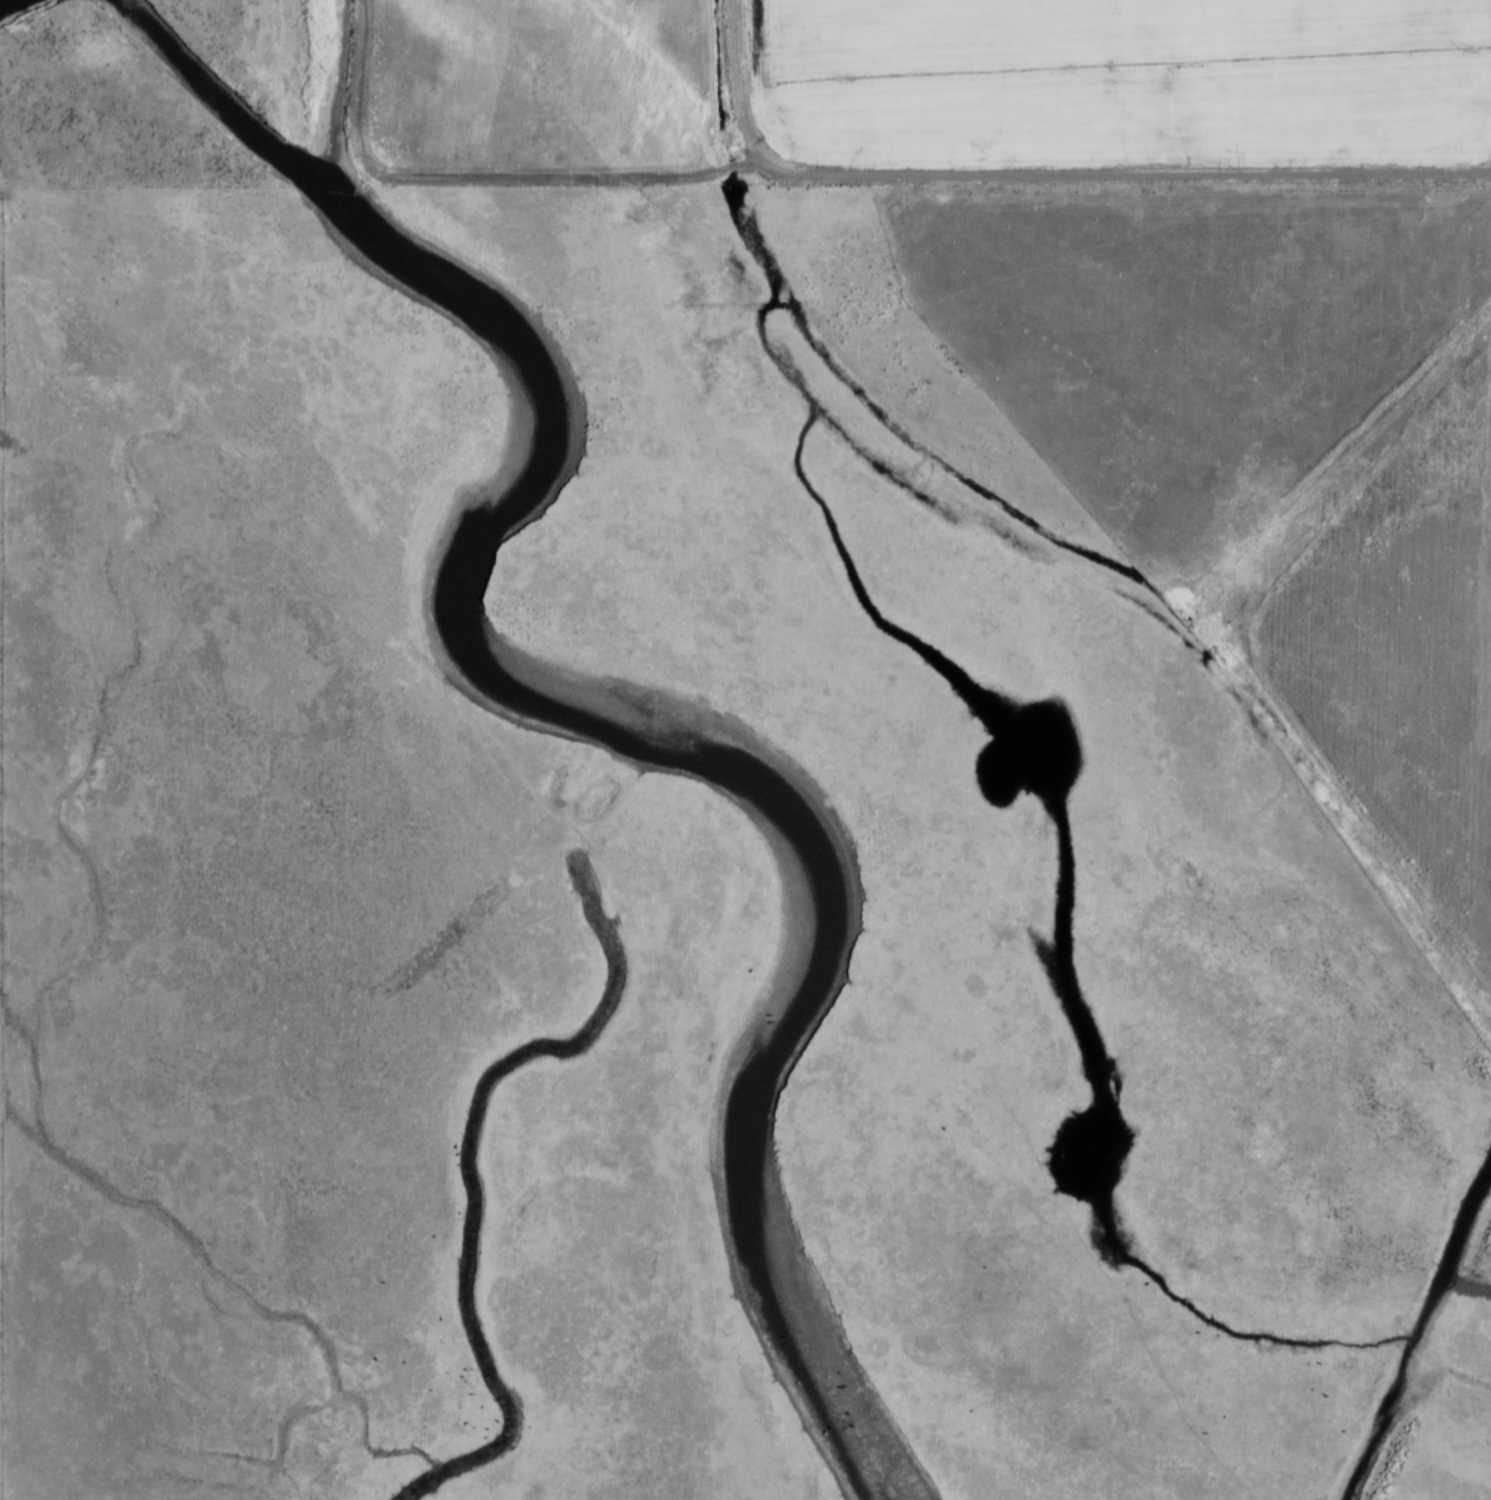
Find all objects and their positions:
crop: (1317, 82)
crop: (939, 83)
crop: (550, 86)
road: (1040, 181)
crop: (1135, 340)
crop: (1390, 644)
river: (617, 710)

